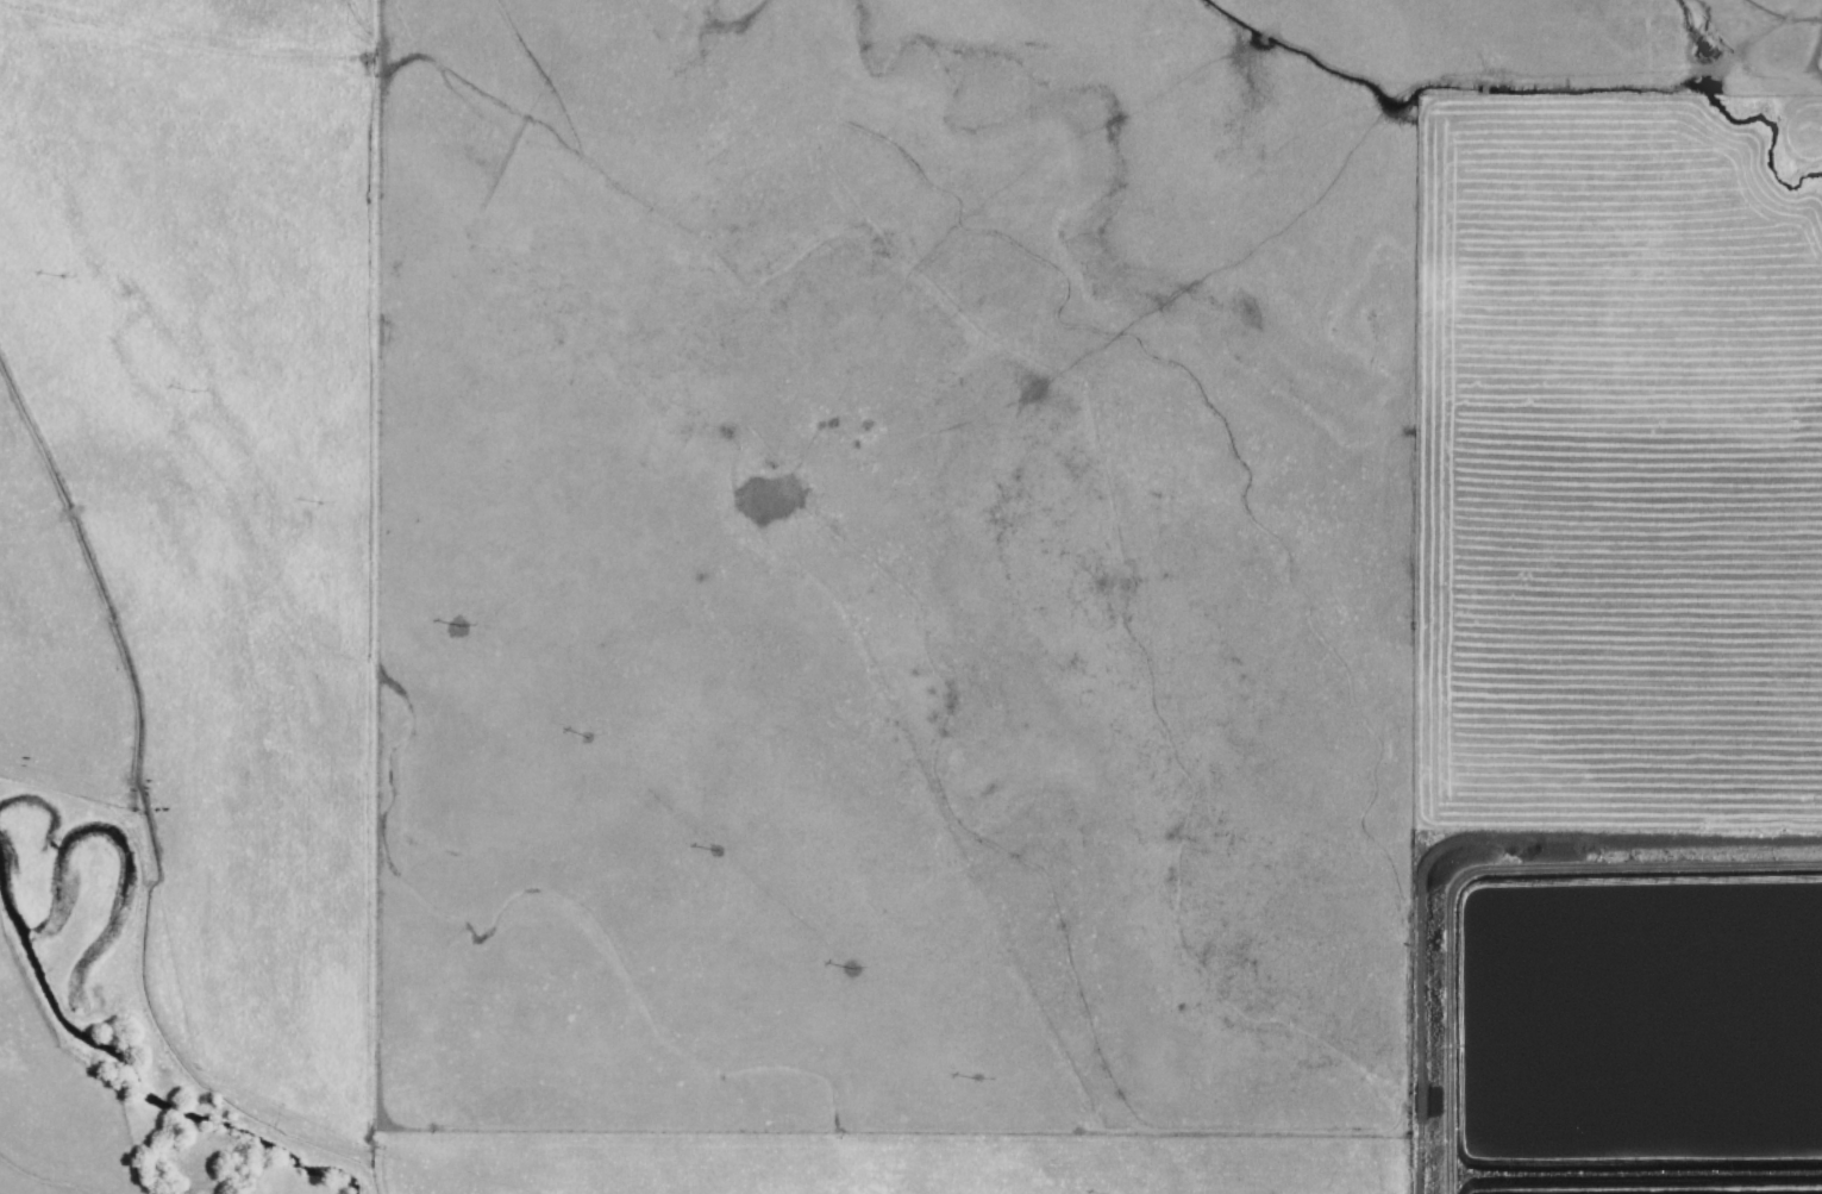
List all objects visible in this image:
crop: (1620, 508)
crop: (907, 549)

